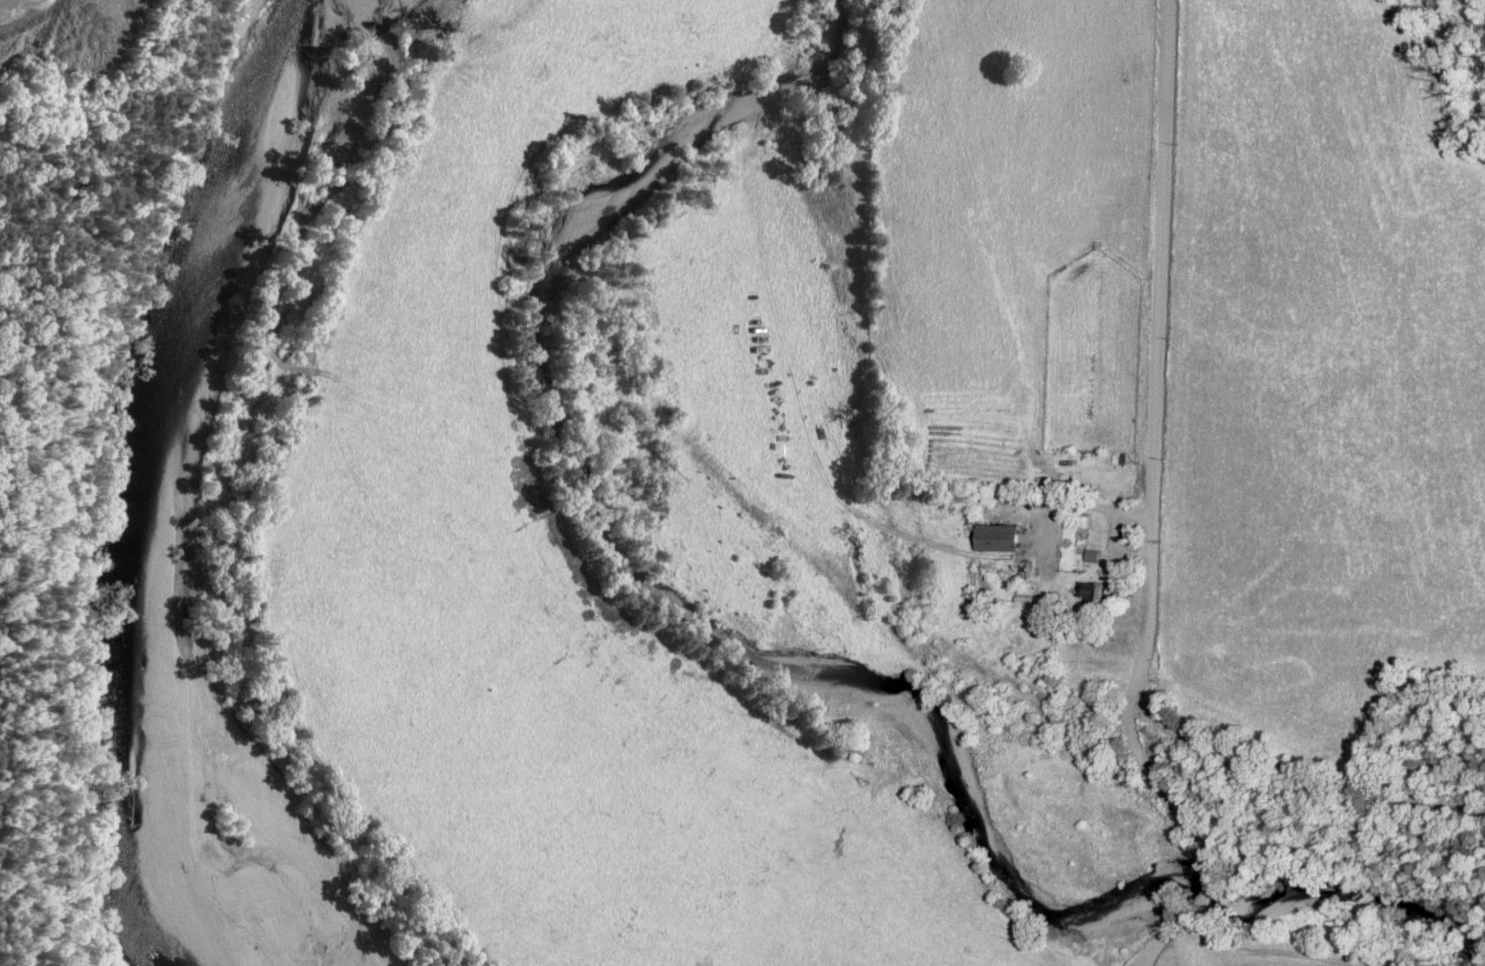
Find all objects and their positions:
quarry: (37, 31)
river: (120, 483)
road: (1153, 511)
building: (1000, 538)
building: (1095, 593)
road: (1301, 770)

